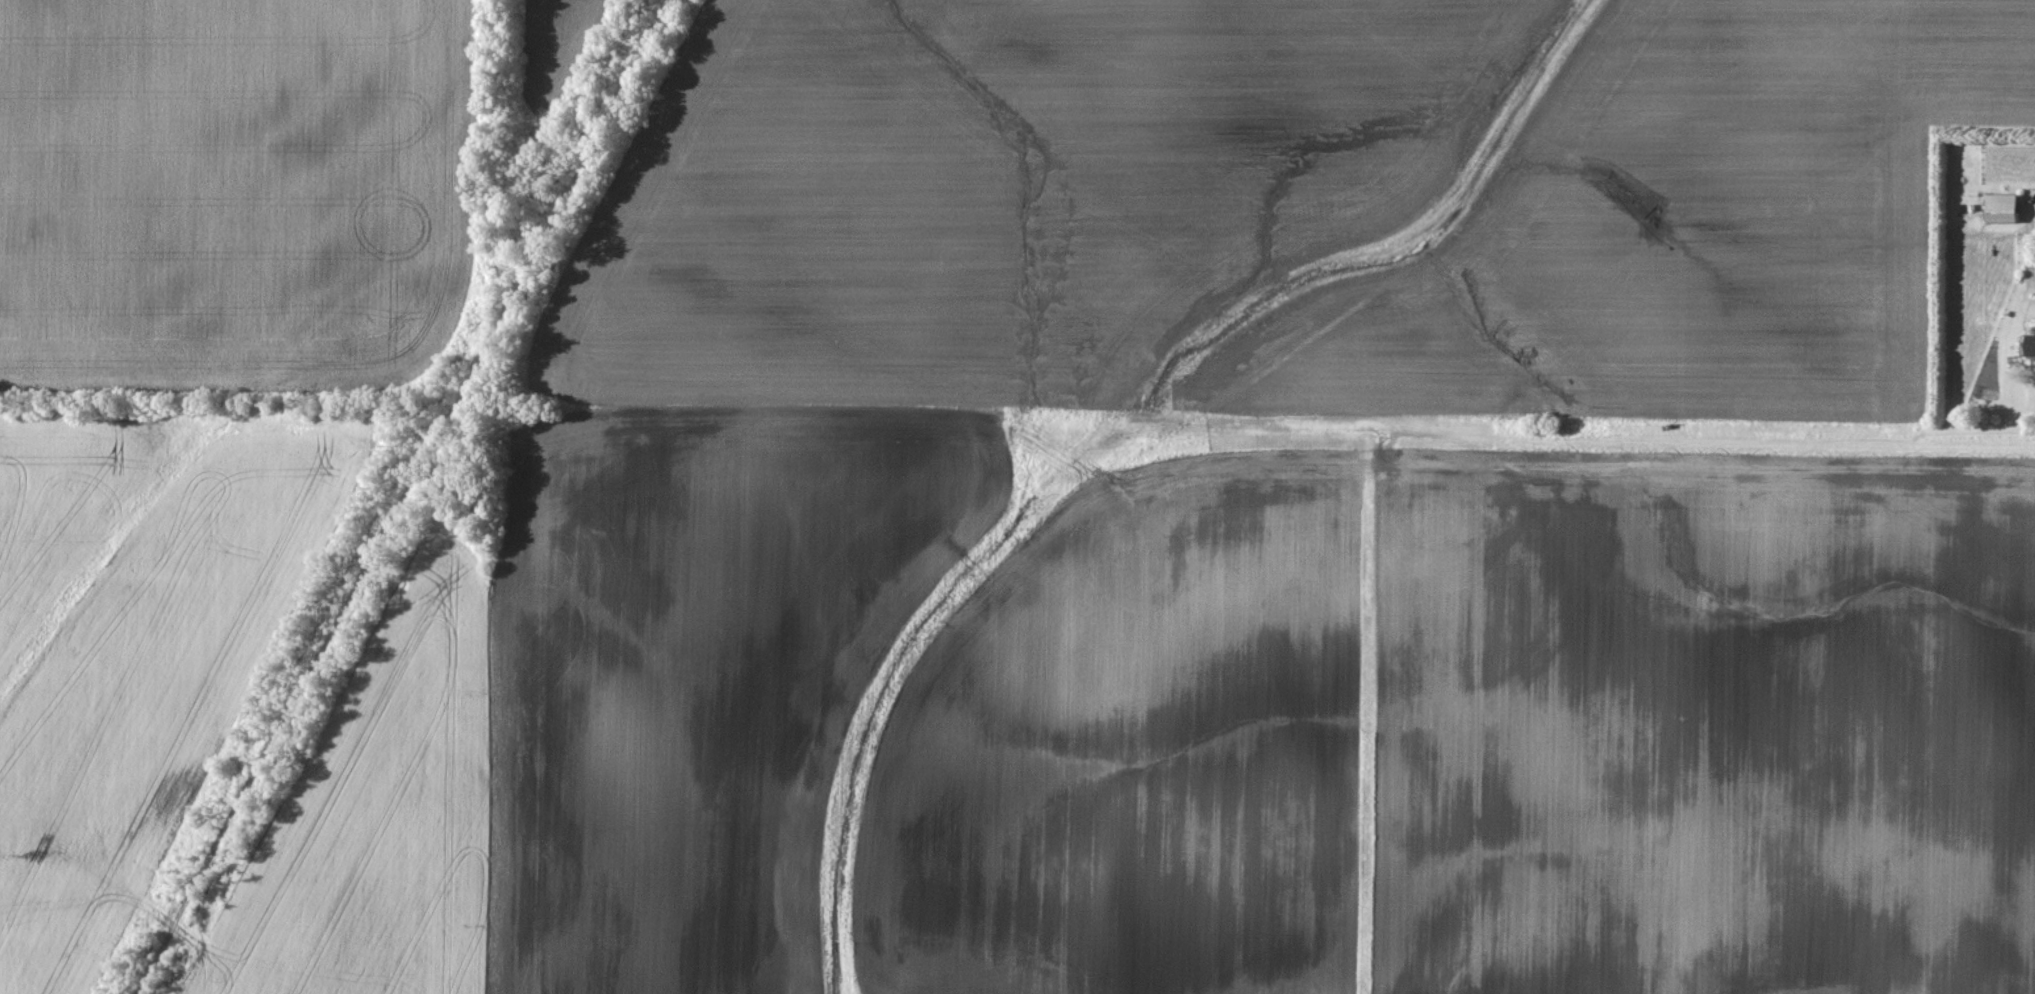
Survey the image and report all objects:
road: (2033, 246)

